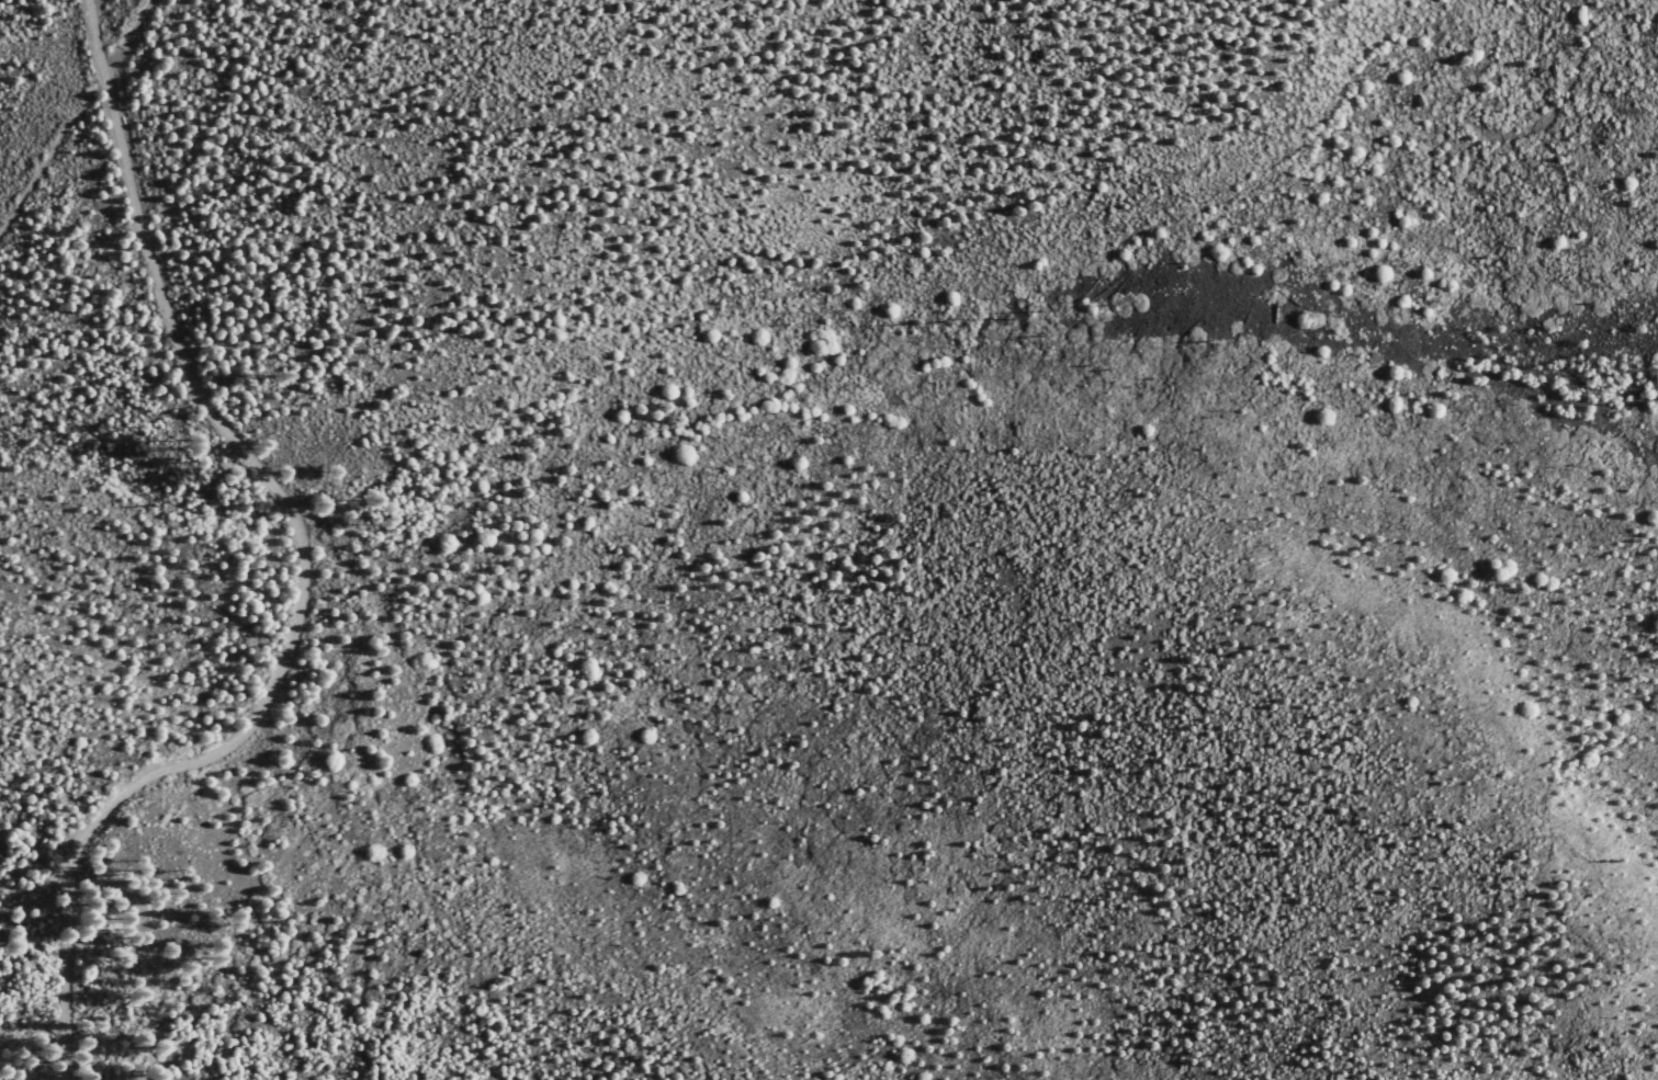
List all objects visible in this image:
road: (81, 124)
road: (303, 570)

